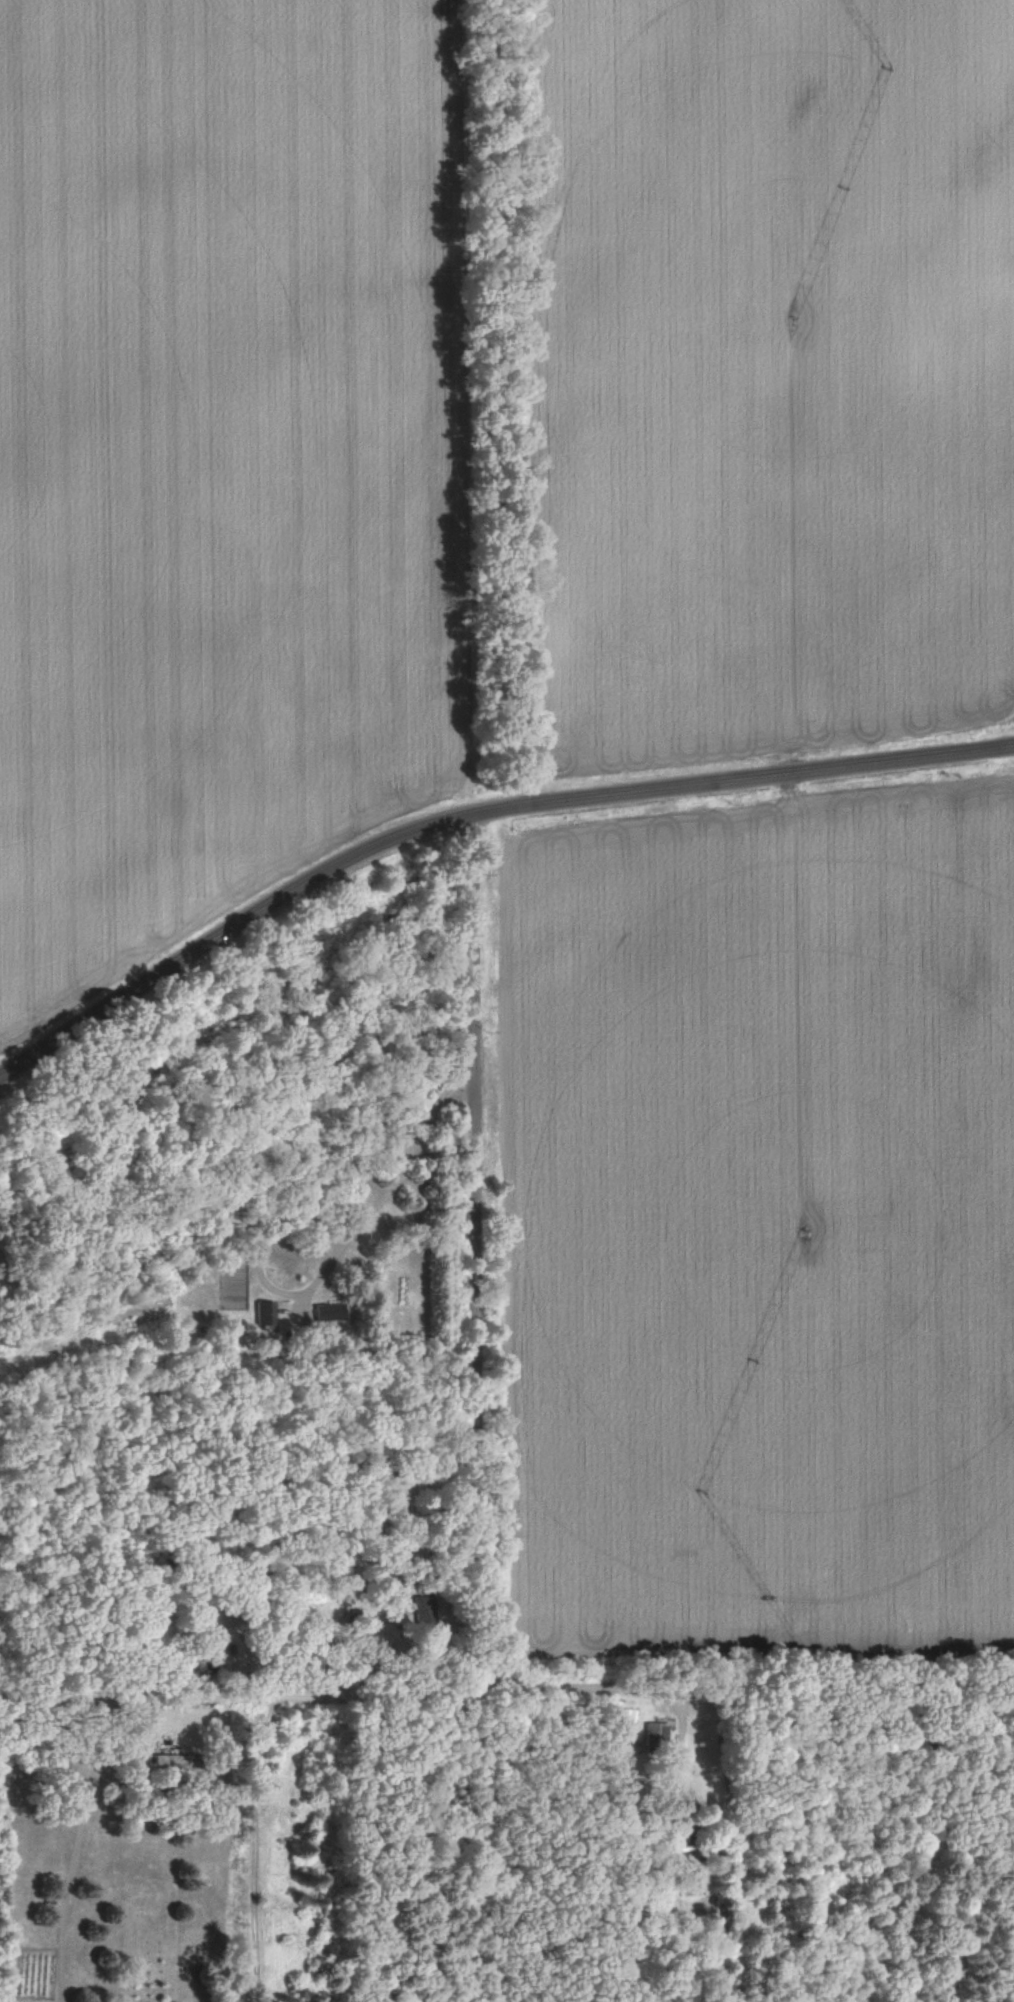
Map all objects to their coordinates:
crop: (777, 369)
road: (472, 815)
crop: (770, 1231)
road: (263, 1247)
road: (473, 1256)
building: (330, 1312)
building: (266, 1314)
building: (398, 1498)
building: (423, 1609)
road: (507, 1698)
building: (657, 1735)
building: (177, 1762)
building: (682, 1829)
road: (232, 1847)
road: (74, 1849)
road: (475, 1850)

